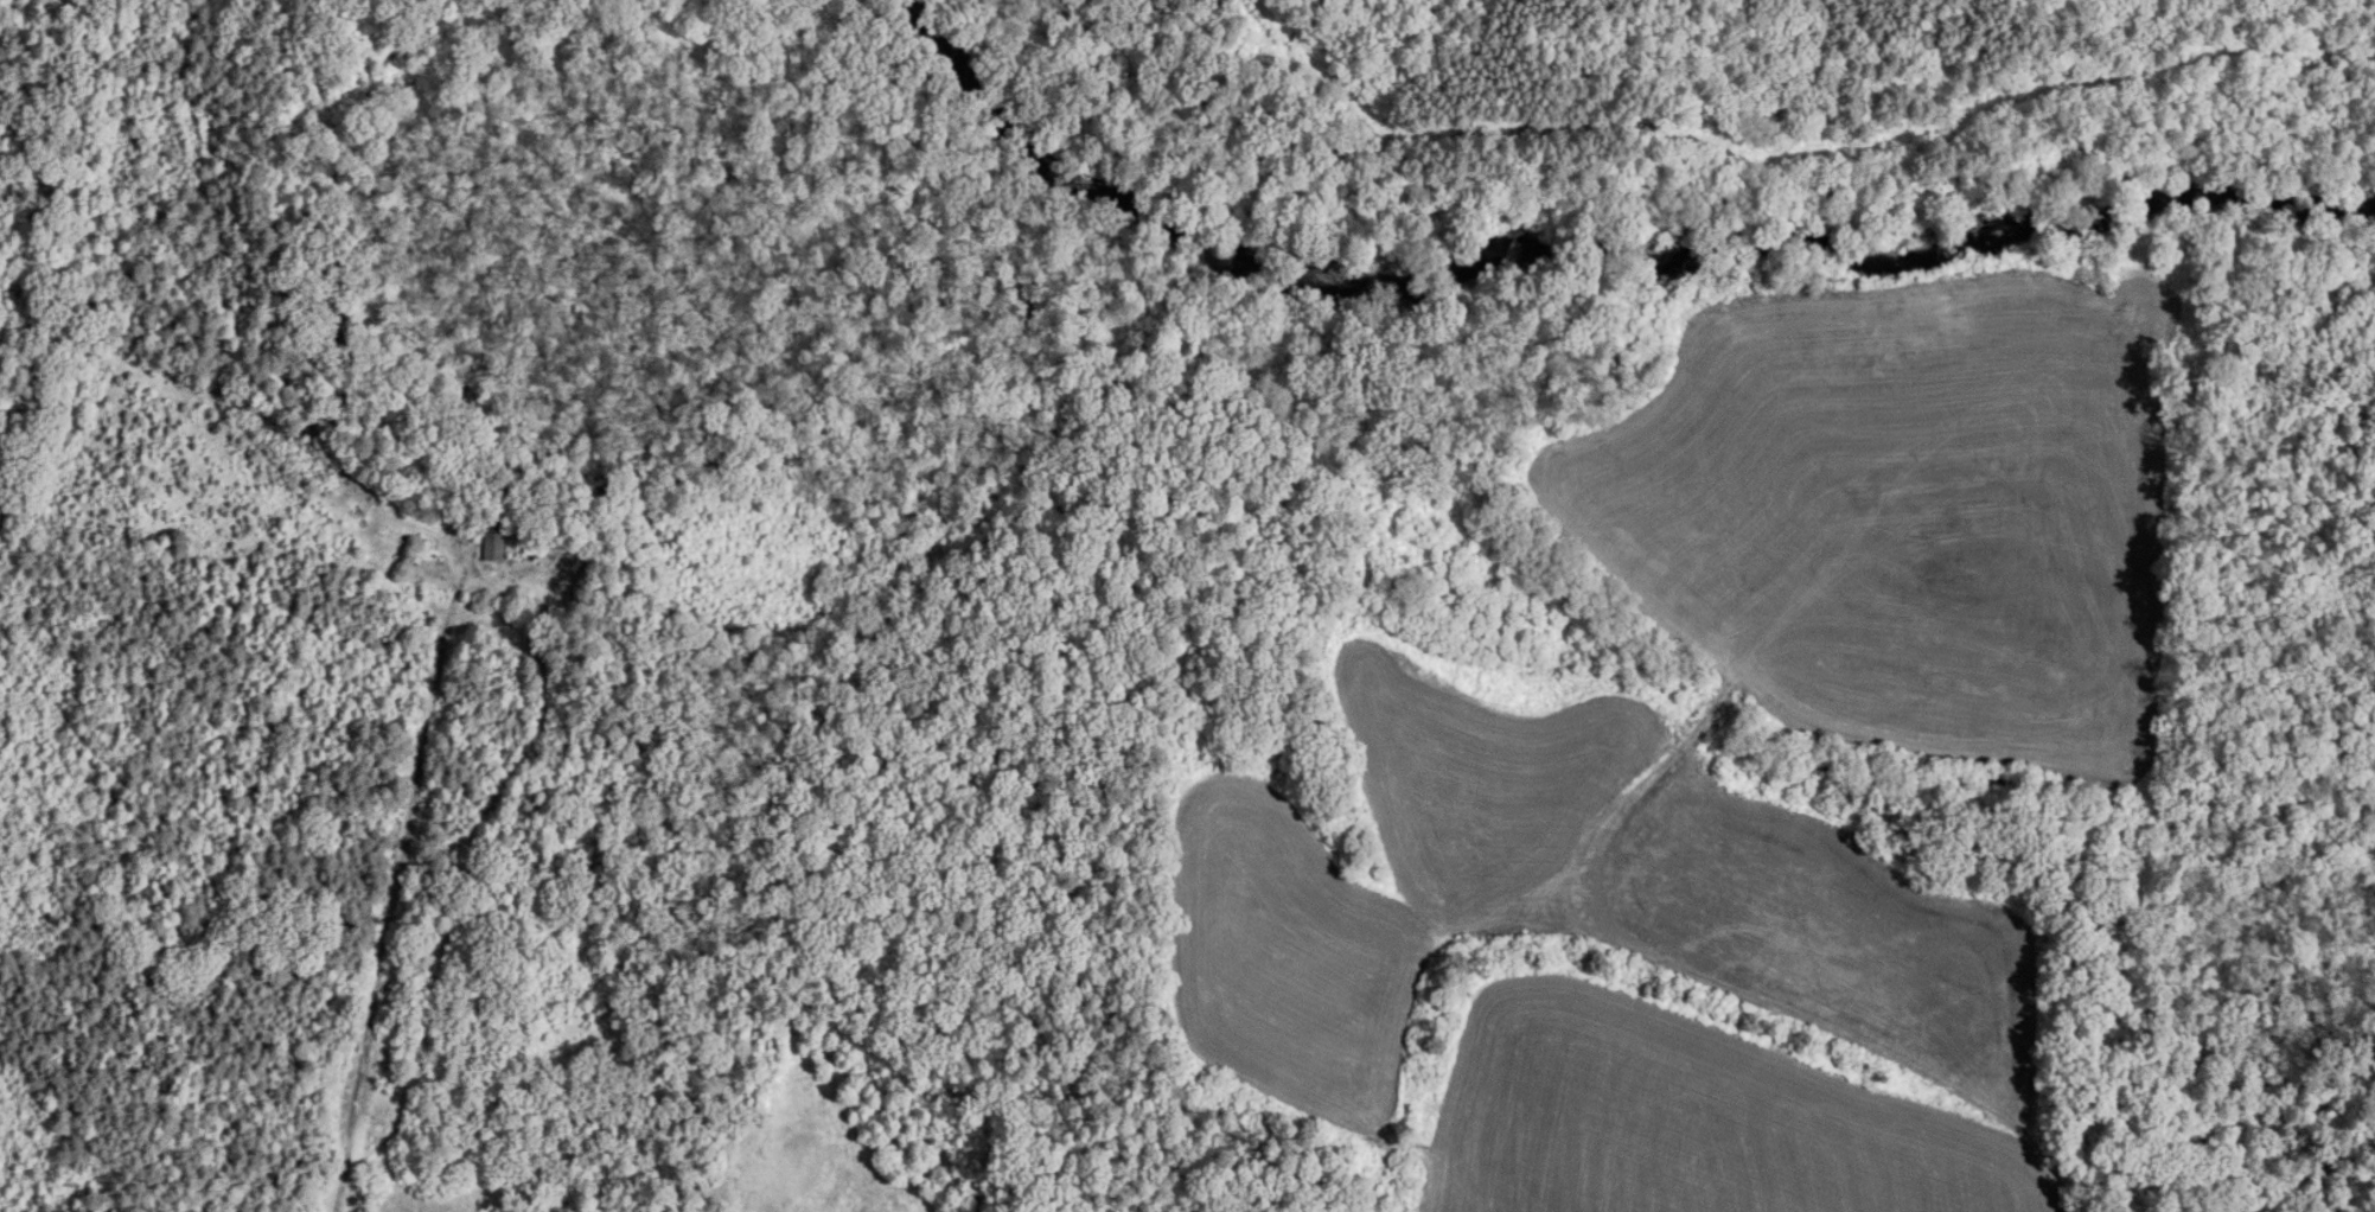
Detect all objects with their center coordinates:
building: (496, 548)

